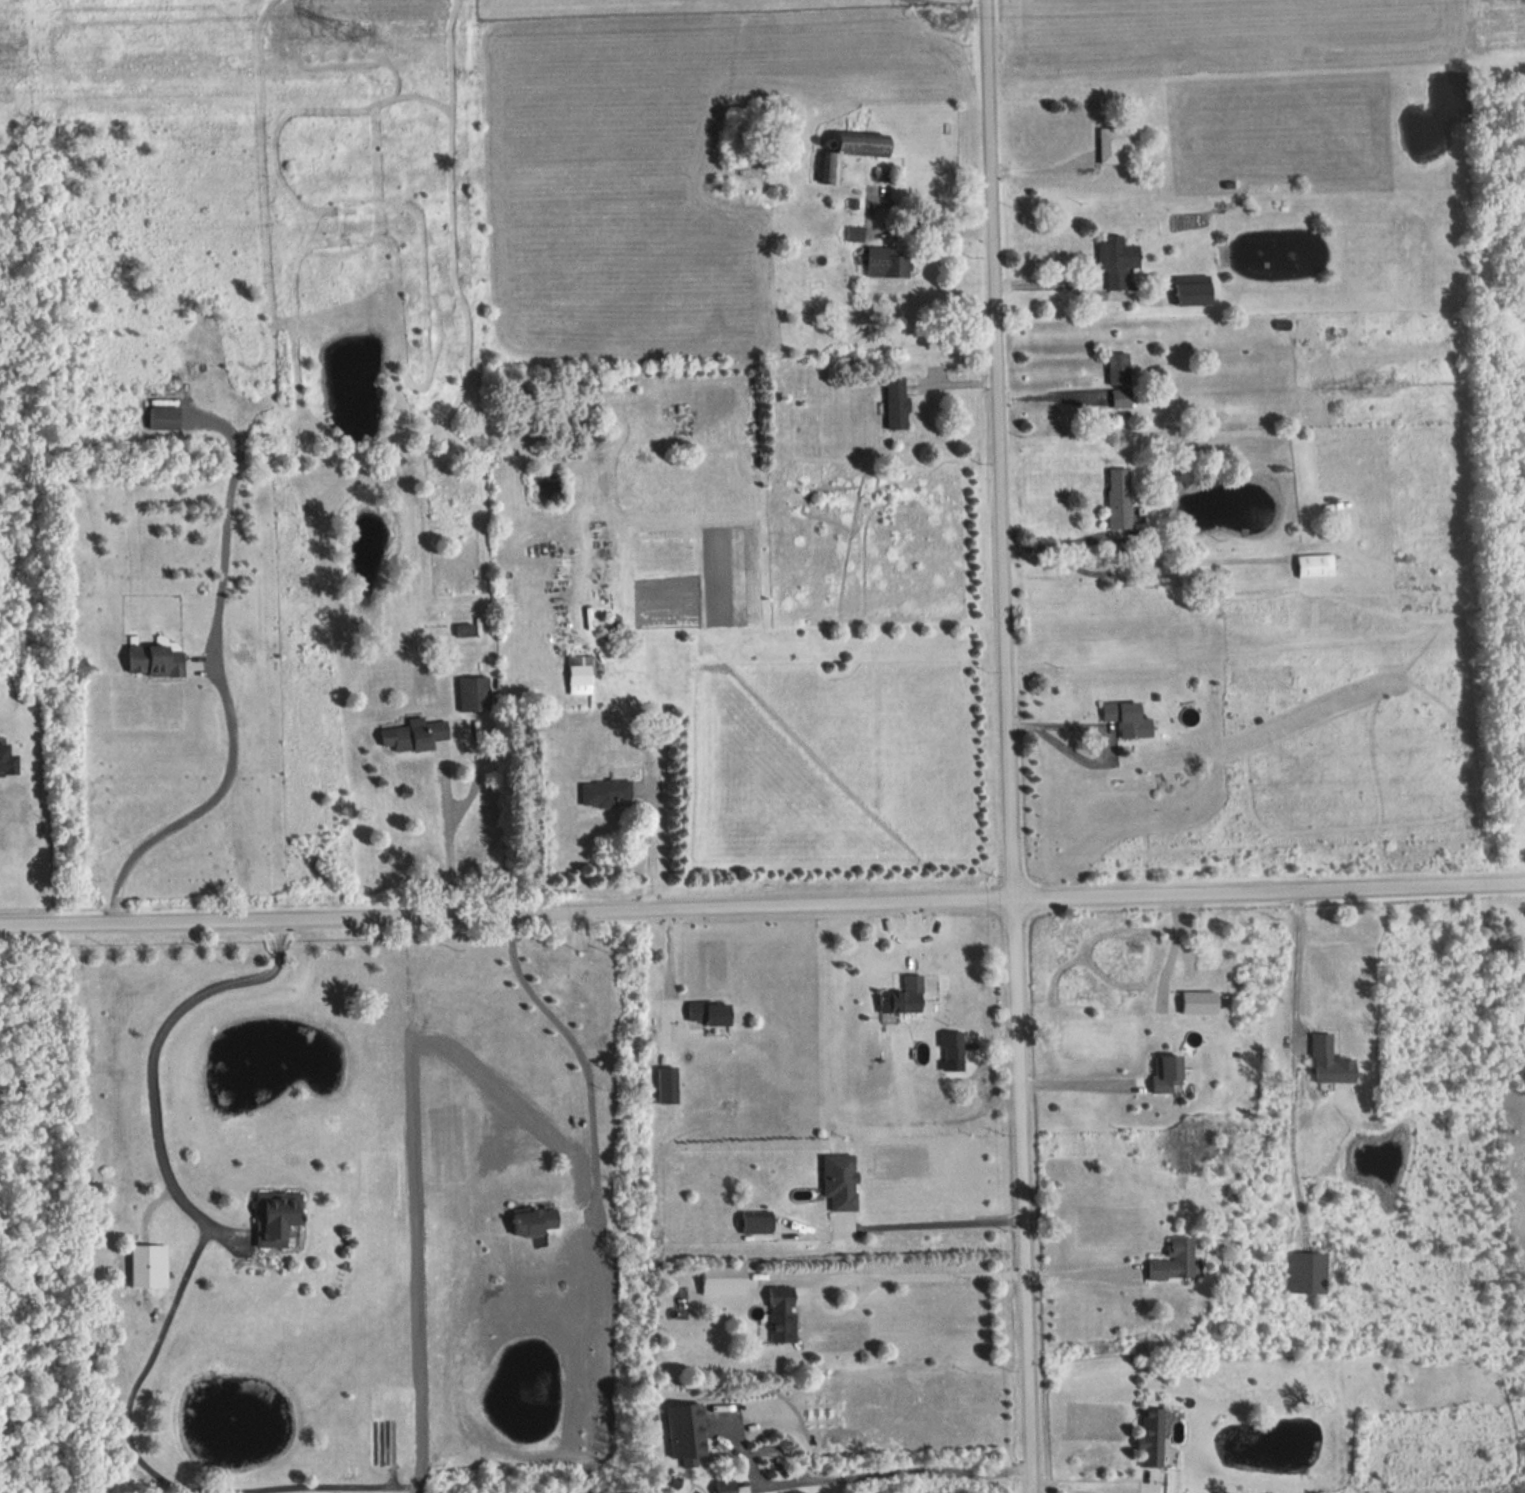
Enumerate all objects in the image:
power tower: (942, 19)
power tower: (342, 44)
building: (1116, 142)
building: (832, 167)
road: (1041, 170)
road: (881, 231)
building: (856, 234)
building: (1119, 260)
building: (888, 262)
road: (1046, 282)
building: (1197, 290)
building: (1121, 379)
road: (1051, 395)
building: (899, 403)
building: (165, 418)
building: (1121, 498)
road: (1112, 536)
building: (1317, 565)
building: (466, 631)
building: (159, 660)
building: (581, 675)
building: (476, 694)
road: (223, 696)
building: (1131, 718)
road: (1105, 733)
building: (416, 734)
road: (1004, 746)
building: (9, 761)
road: (446, 783)
building: (606, 793)
road: (647, 851)
road: (762, 910)
road: (1288, 961)
road: (668, 974)
building: (907, 997)
building: (712, 1013)
road: (564, 1037)
building: (954, 1047)
road: (151, 1062)
building: (1332, 1062)
building: (1170, 1074)
road: (1071, 1083)
building: (669, 1085)
building: (842, 1180)
building: (278, 1219)
building: (536, 1221)
road: (931, 1221)
building: (759, 1222)
building: (1177, 1260)
road: (1078, 1271)
building: (1309, 1271)
road: (922, 1274)
building: (784, 1313)
building: (1154, 1436)
building: (685, 1449)
road: (842, 1475)
road: (1081, 1486)
building: (729, 1490)

